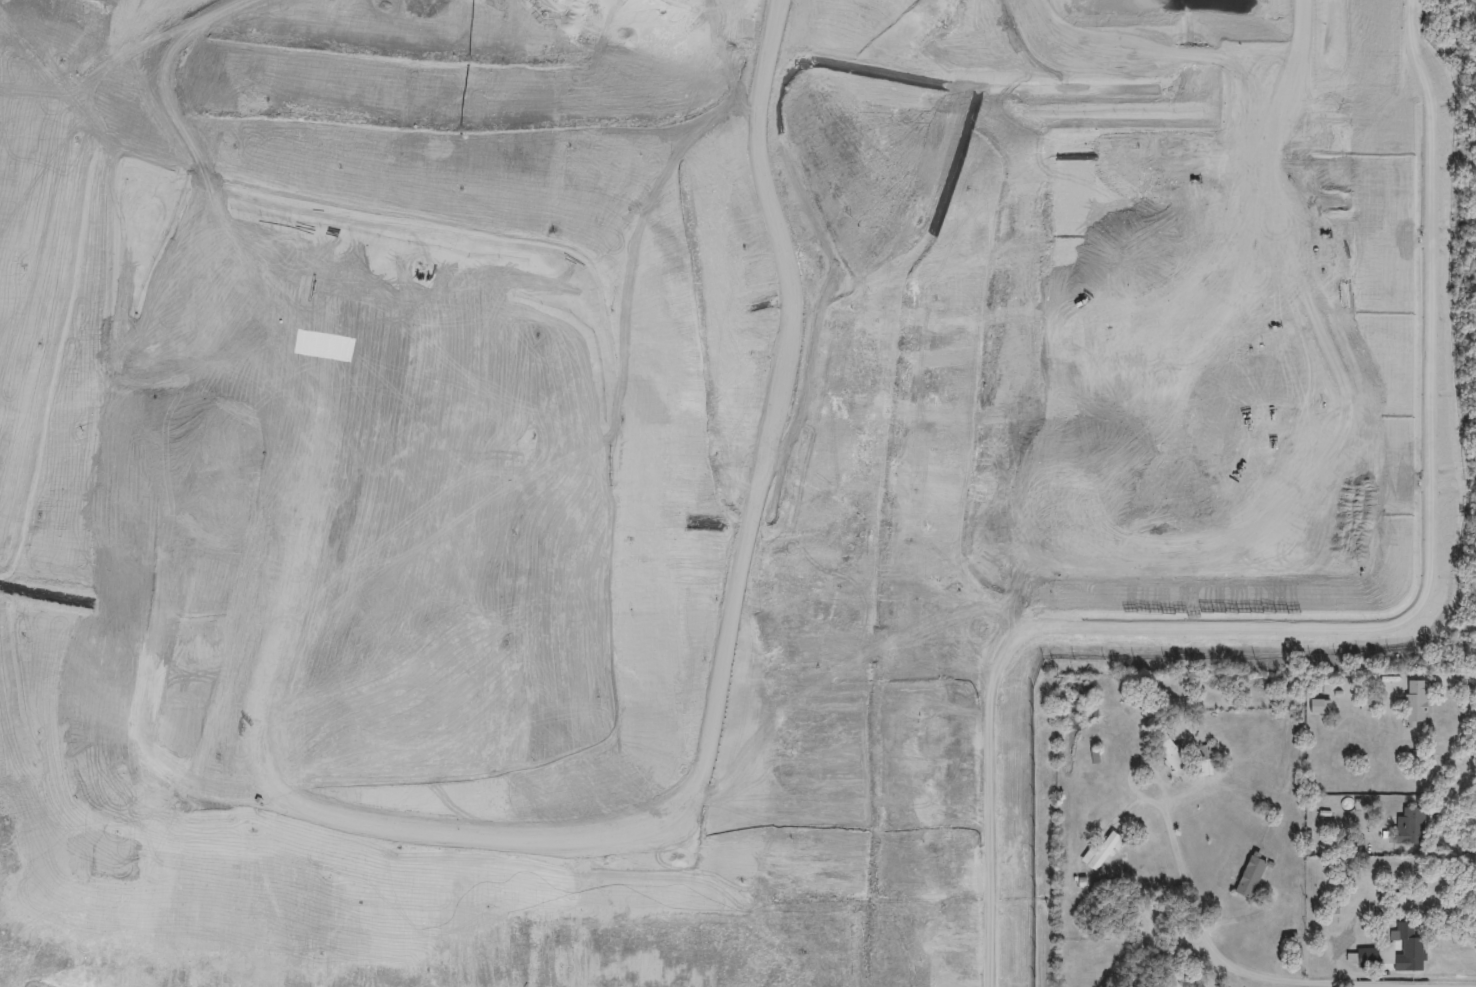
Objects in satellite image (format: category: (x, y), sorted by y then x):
landfill: (679, 456)
road: (1453, 677)
building: (1414, 703)
building: (1318, 705)
building: (1175, 752)
building: (1210, 752)
road: (1130, 783)
building: (1411, 827)
road: (1462, 840)
building: (1106, 850)
building: (1252, 872)
building: (1409, 947)
road: (1217, 954)
building: (1363, 956)
building: (1178, 985)

